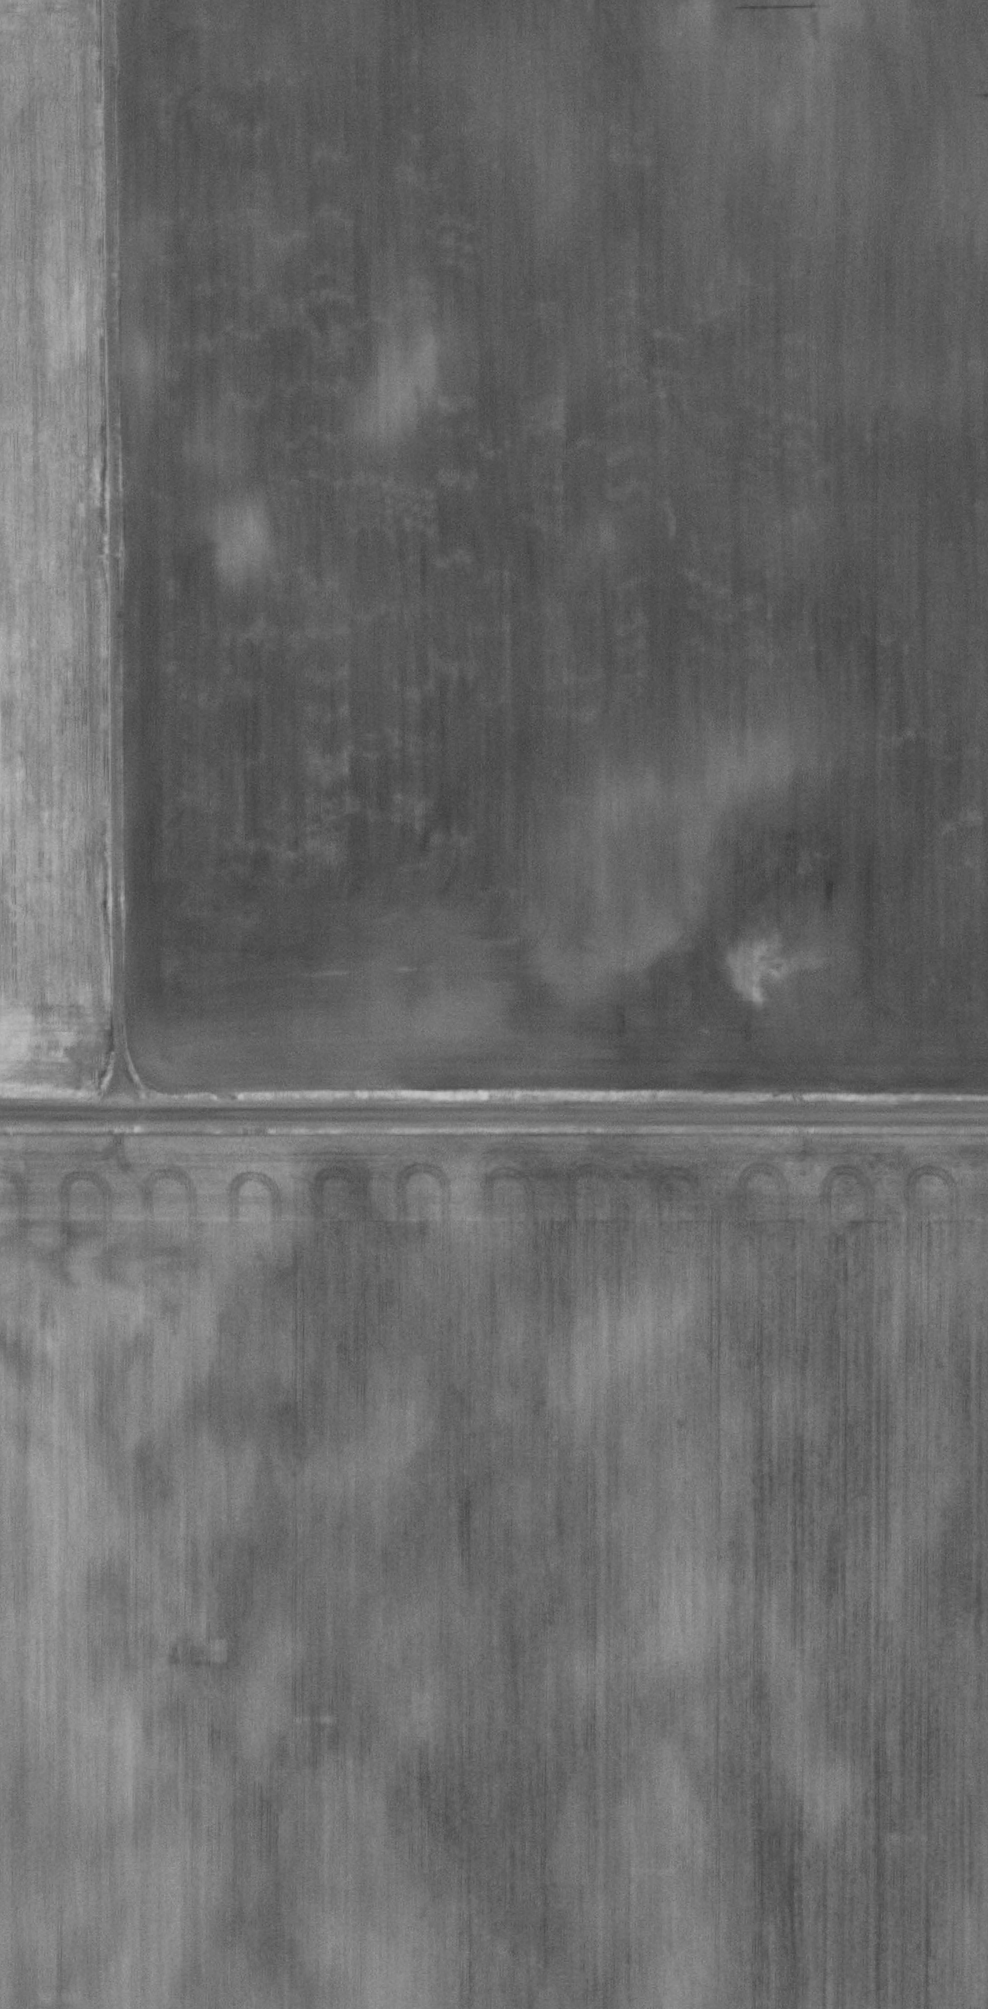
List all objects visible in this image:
road: (124, 557)
road: (494, 1115)

